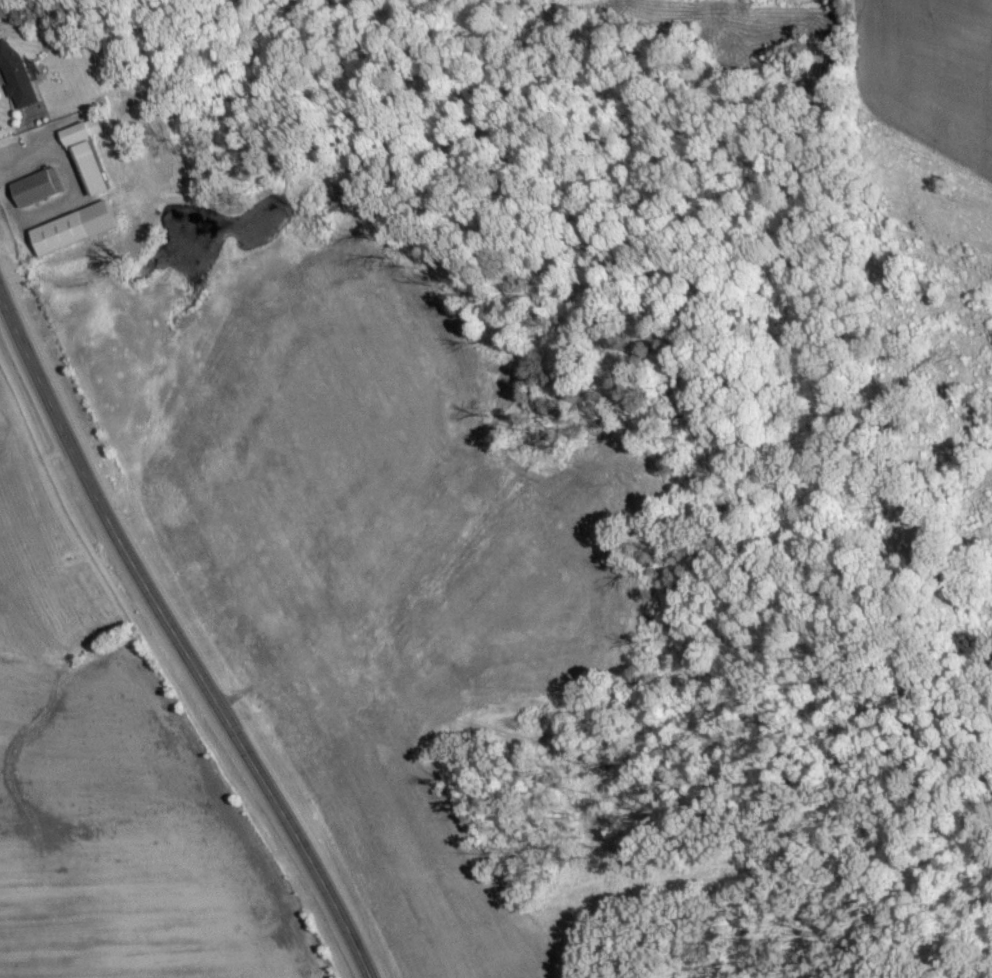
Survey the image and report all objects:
building: (16, 77)
building: (85, 156)
building: (36, 188)
building: (72, 228)
building: (2, 437)
road: (177, 646)

